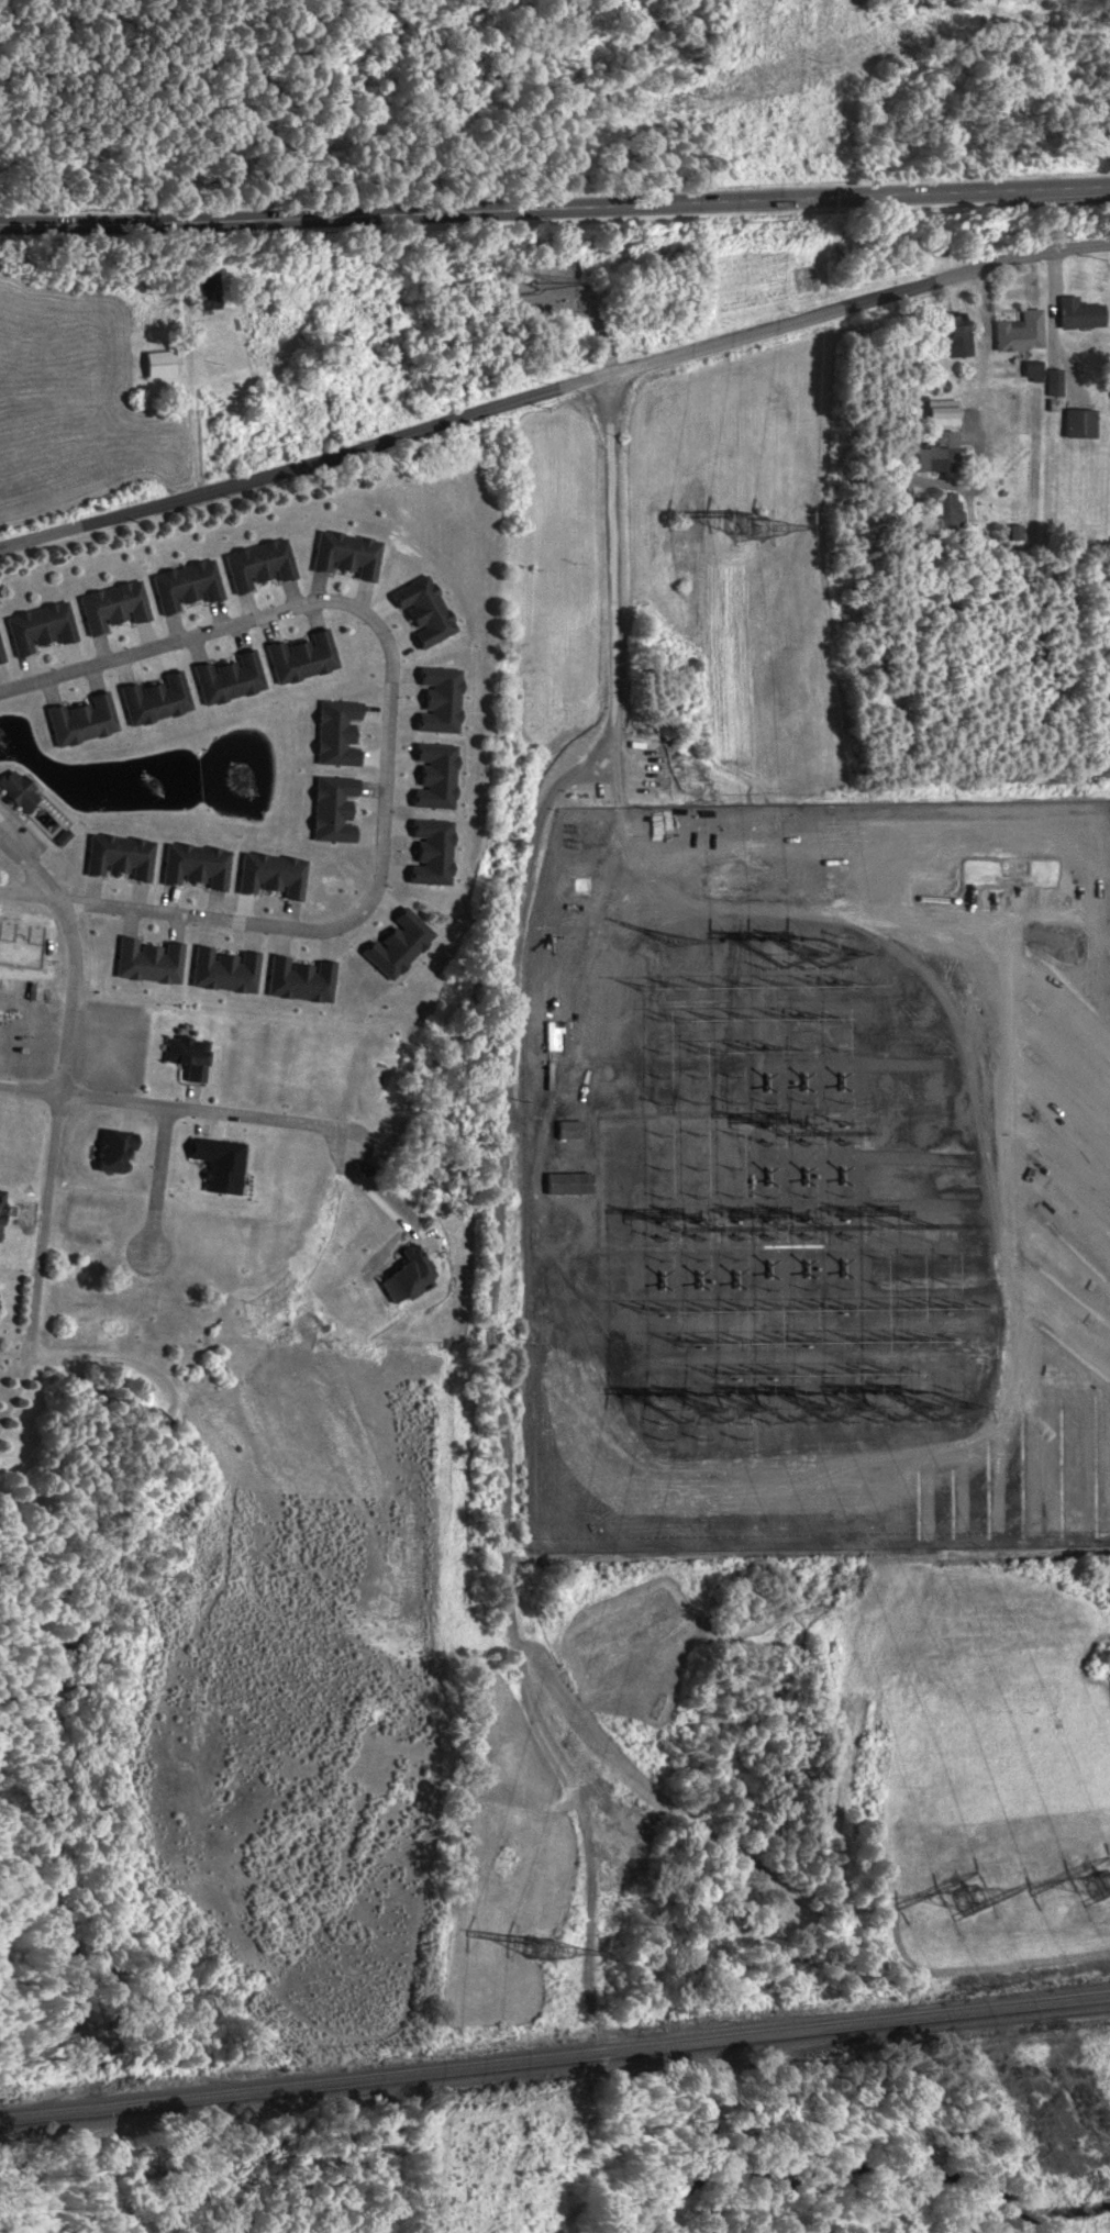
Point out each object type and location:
road: (555, 209)
building: (507, 287)
building: (206, 291)
building: (1077, 314)
building: (1018, 333)
building: (953, 336)
building: (157, 364)
building: (1031, 373)
building: (1052, 382)
road: (554, 392)
building: (1077, 424)
building: (936, 453)
building: (920, 511)
building: (946, 514)
power tower: (762, 527)
building: (345, 556)
building: (257, 565)
building: (185, 587)
building: (111, 608)
building: (422, 611)
building: (38, 629)
building: (300, 657)
building: (0, 659)
building: (226, 678)
building: (154, 699)
building: (80, 720)
road: (384, 755)
building: (16, 790)
building: (118, 857)
road: (30, 867)
power tower: (788, 957)
building: (147, 960)
building: (186, 1056)
road: (174, 1107)
road: (56, 1127)
building: (568, 1129)
building: (110, 1151)
power substation: (817, 1174)
road: (157, 1181)
building: (566, 1184)
power tower: (802, 1418)
power tower: (912, 1420)
power tower: (693, 1422)
power tower: (1098, 1884)
power tower: (963, 1902)
power tower: (535, 1946)
railway: (555, 2053)
railway: (555, 2063)
river: (863, 2168)

